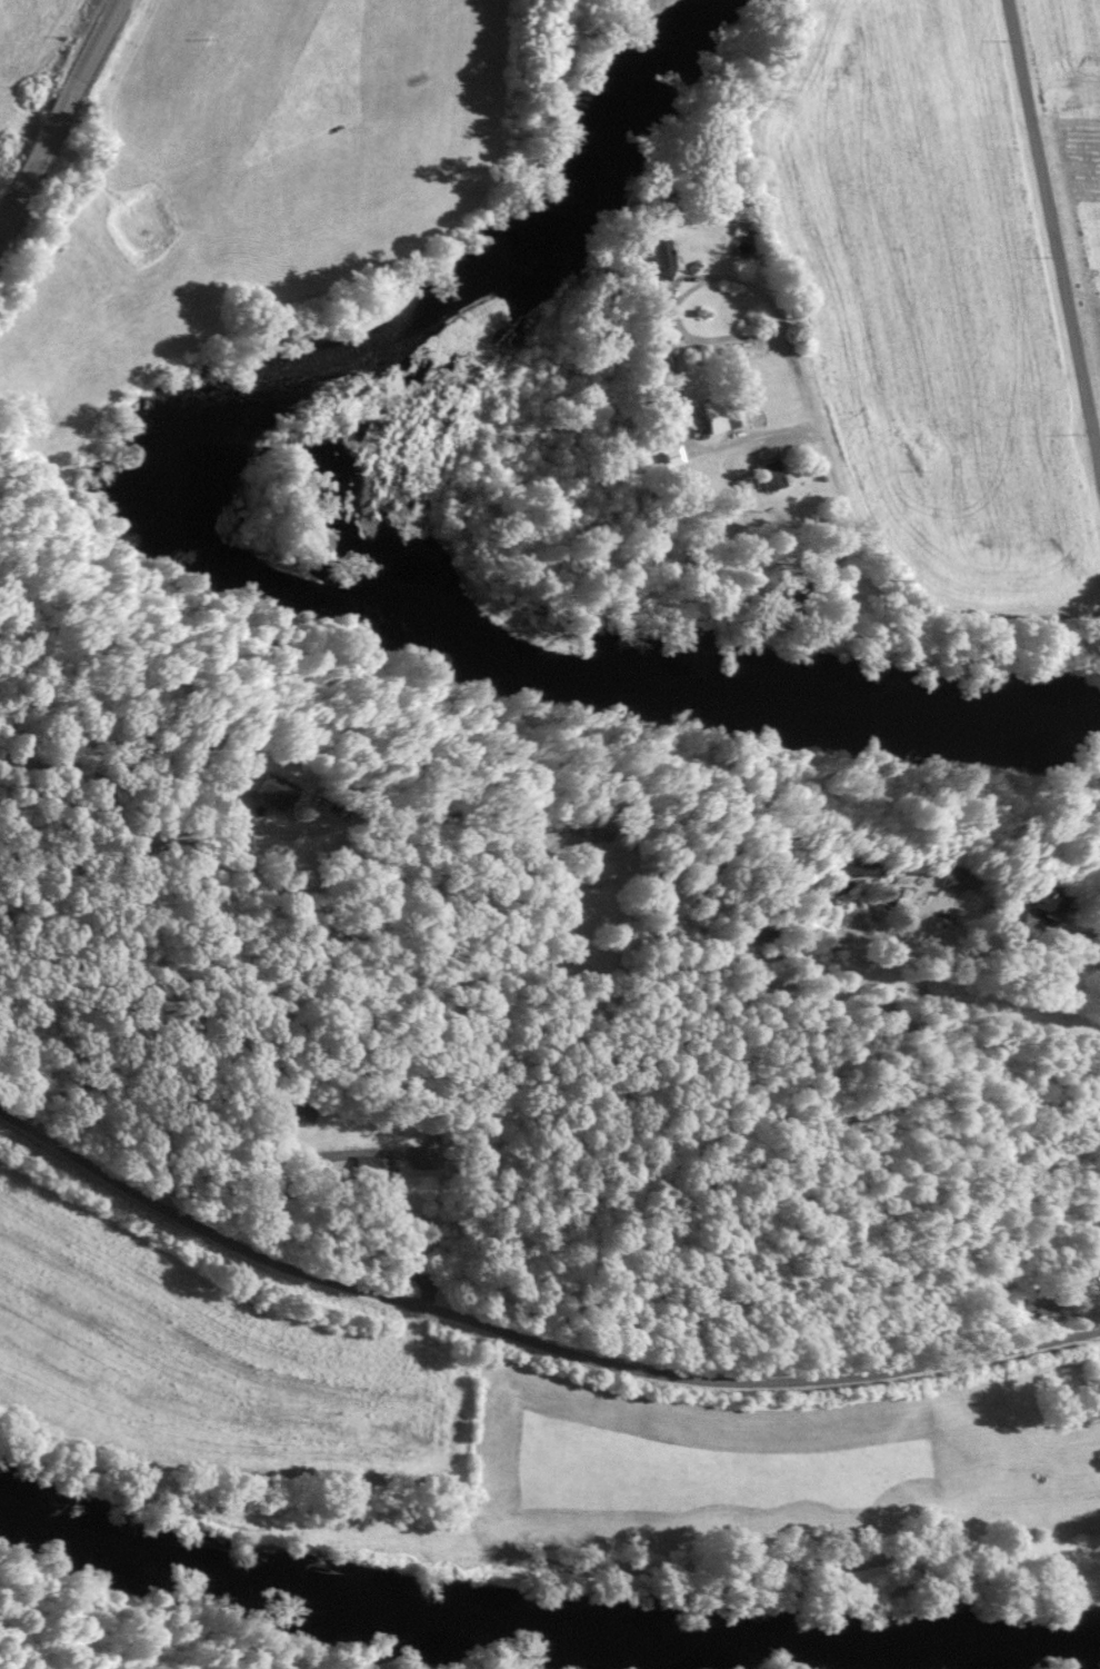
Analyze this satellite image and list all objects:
road: (59, 109)
road: (1054, 231)
building: (654, 264)
building: (711, 423)
building: (766, 471)
road: (857, 533)
river: (436, 586)
building: (944, 878)
building: (1031, 902)
road: (860, 945)
building: (1038, 1300)
road: (529, 1335)
river: (542, 1522)

